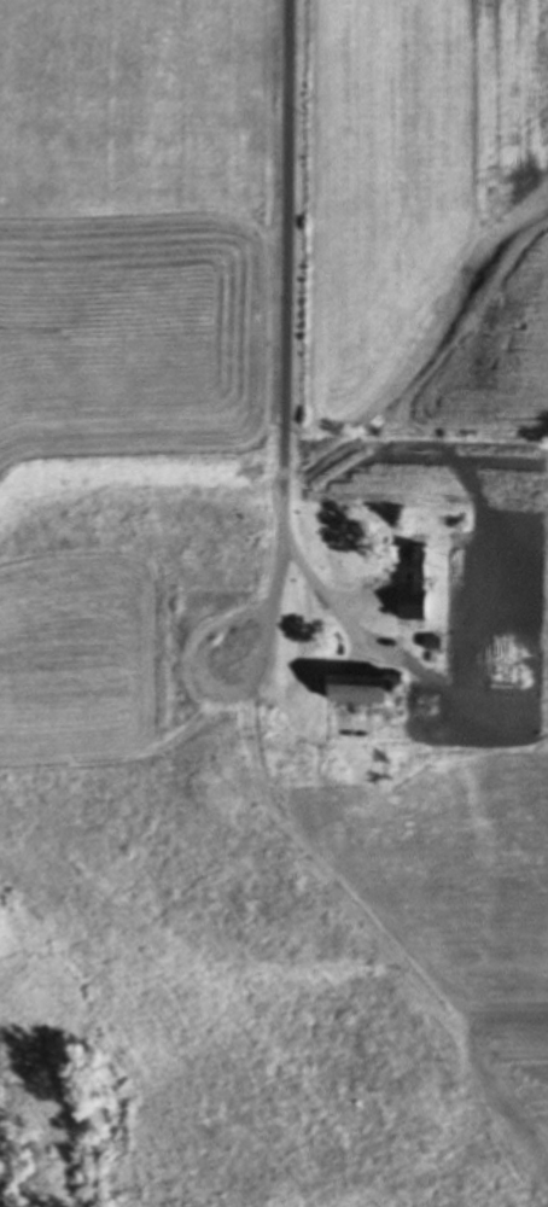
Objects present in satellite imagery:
road: (288, 348)
building: (415, 564)
building: (358, 687)

